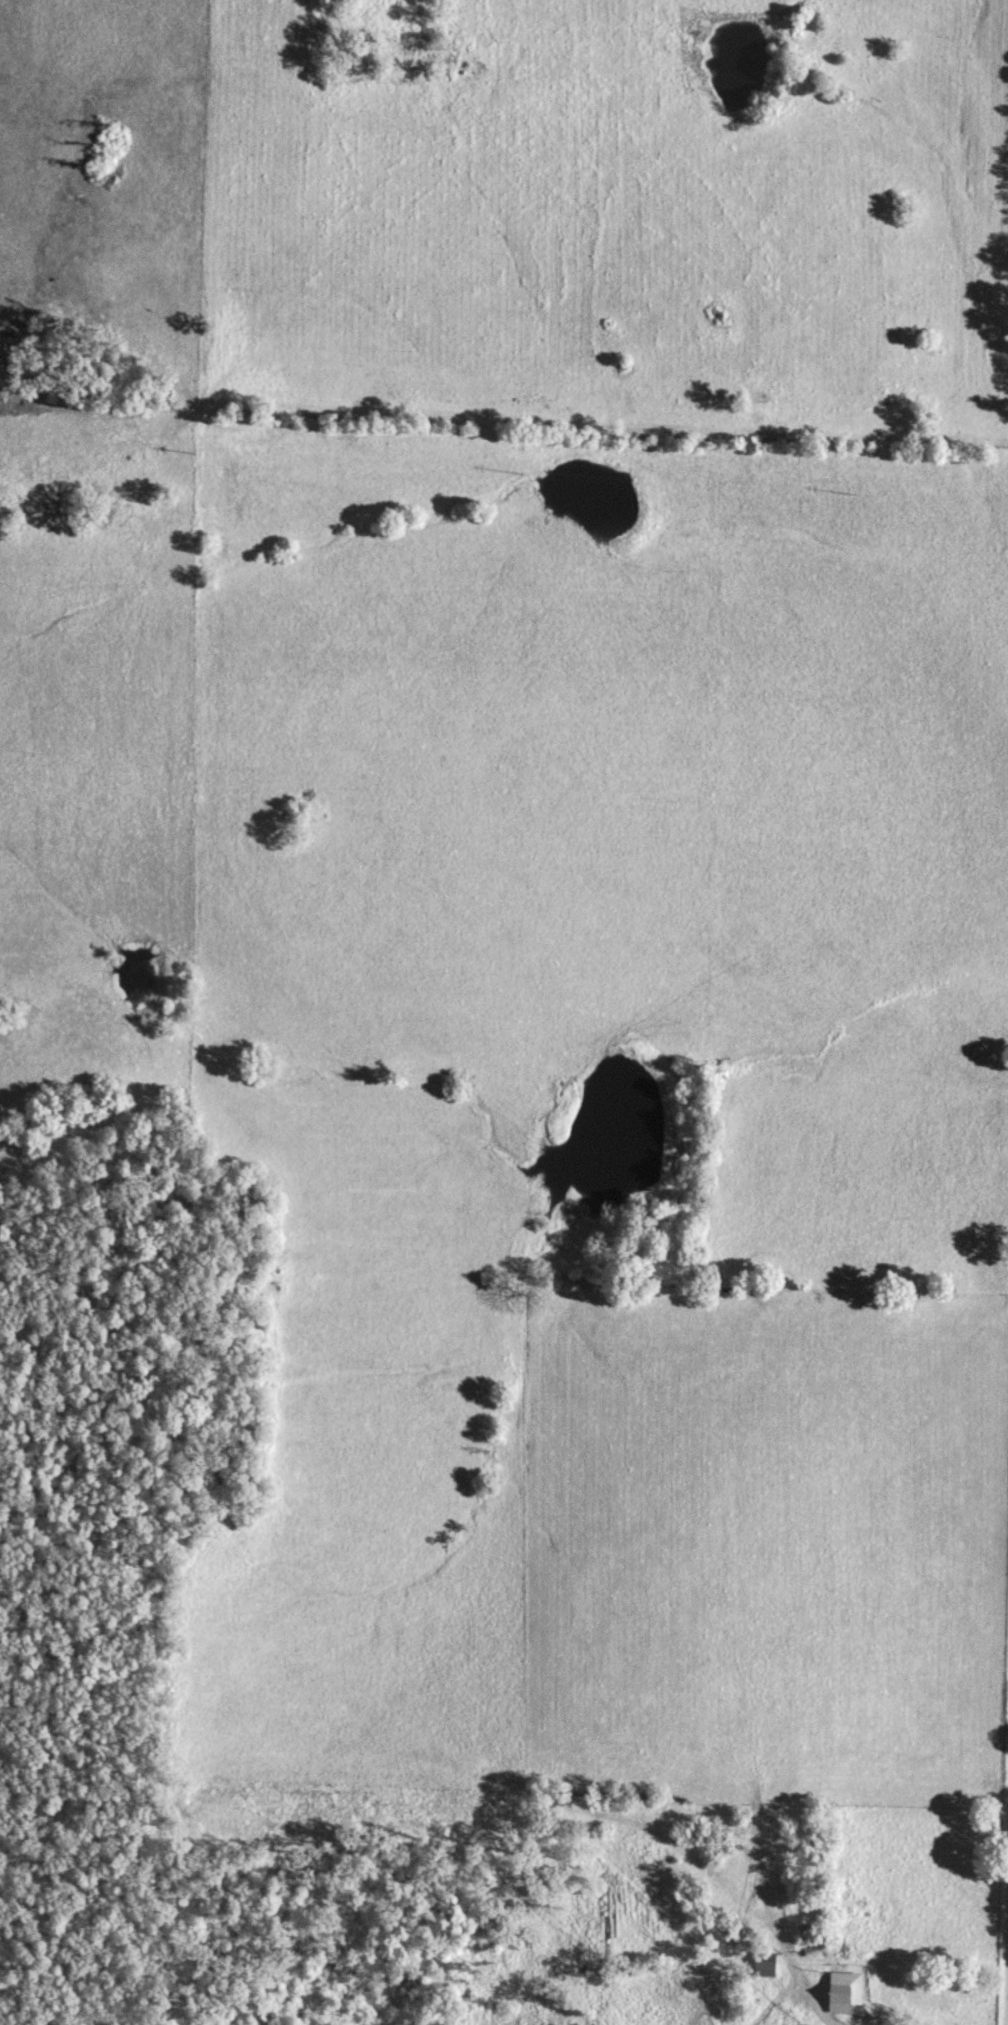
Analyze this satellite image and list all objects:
building: (766, 1964)
building: (846, 1991)

